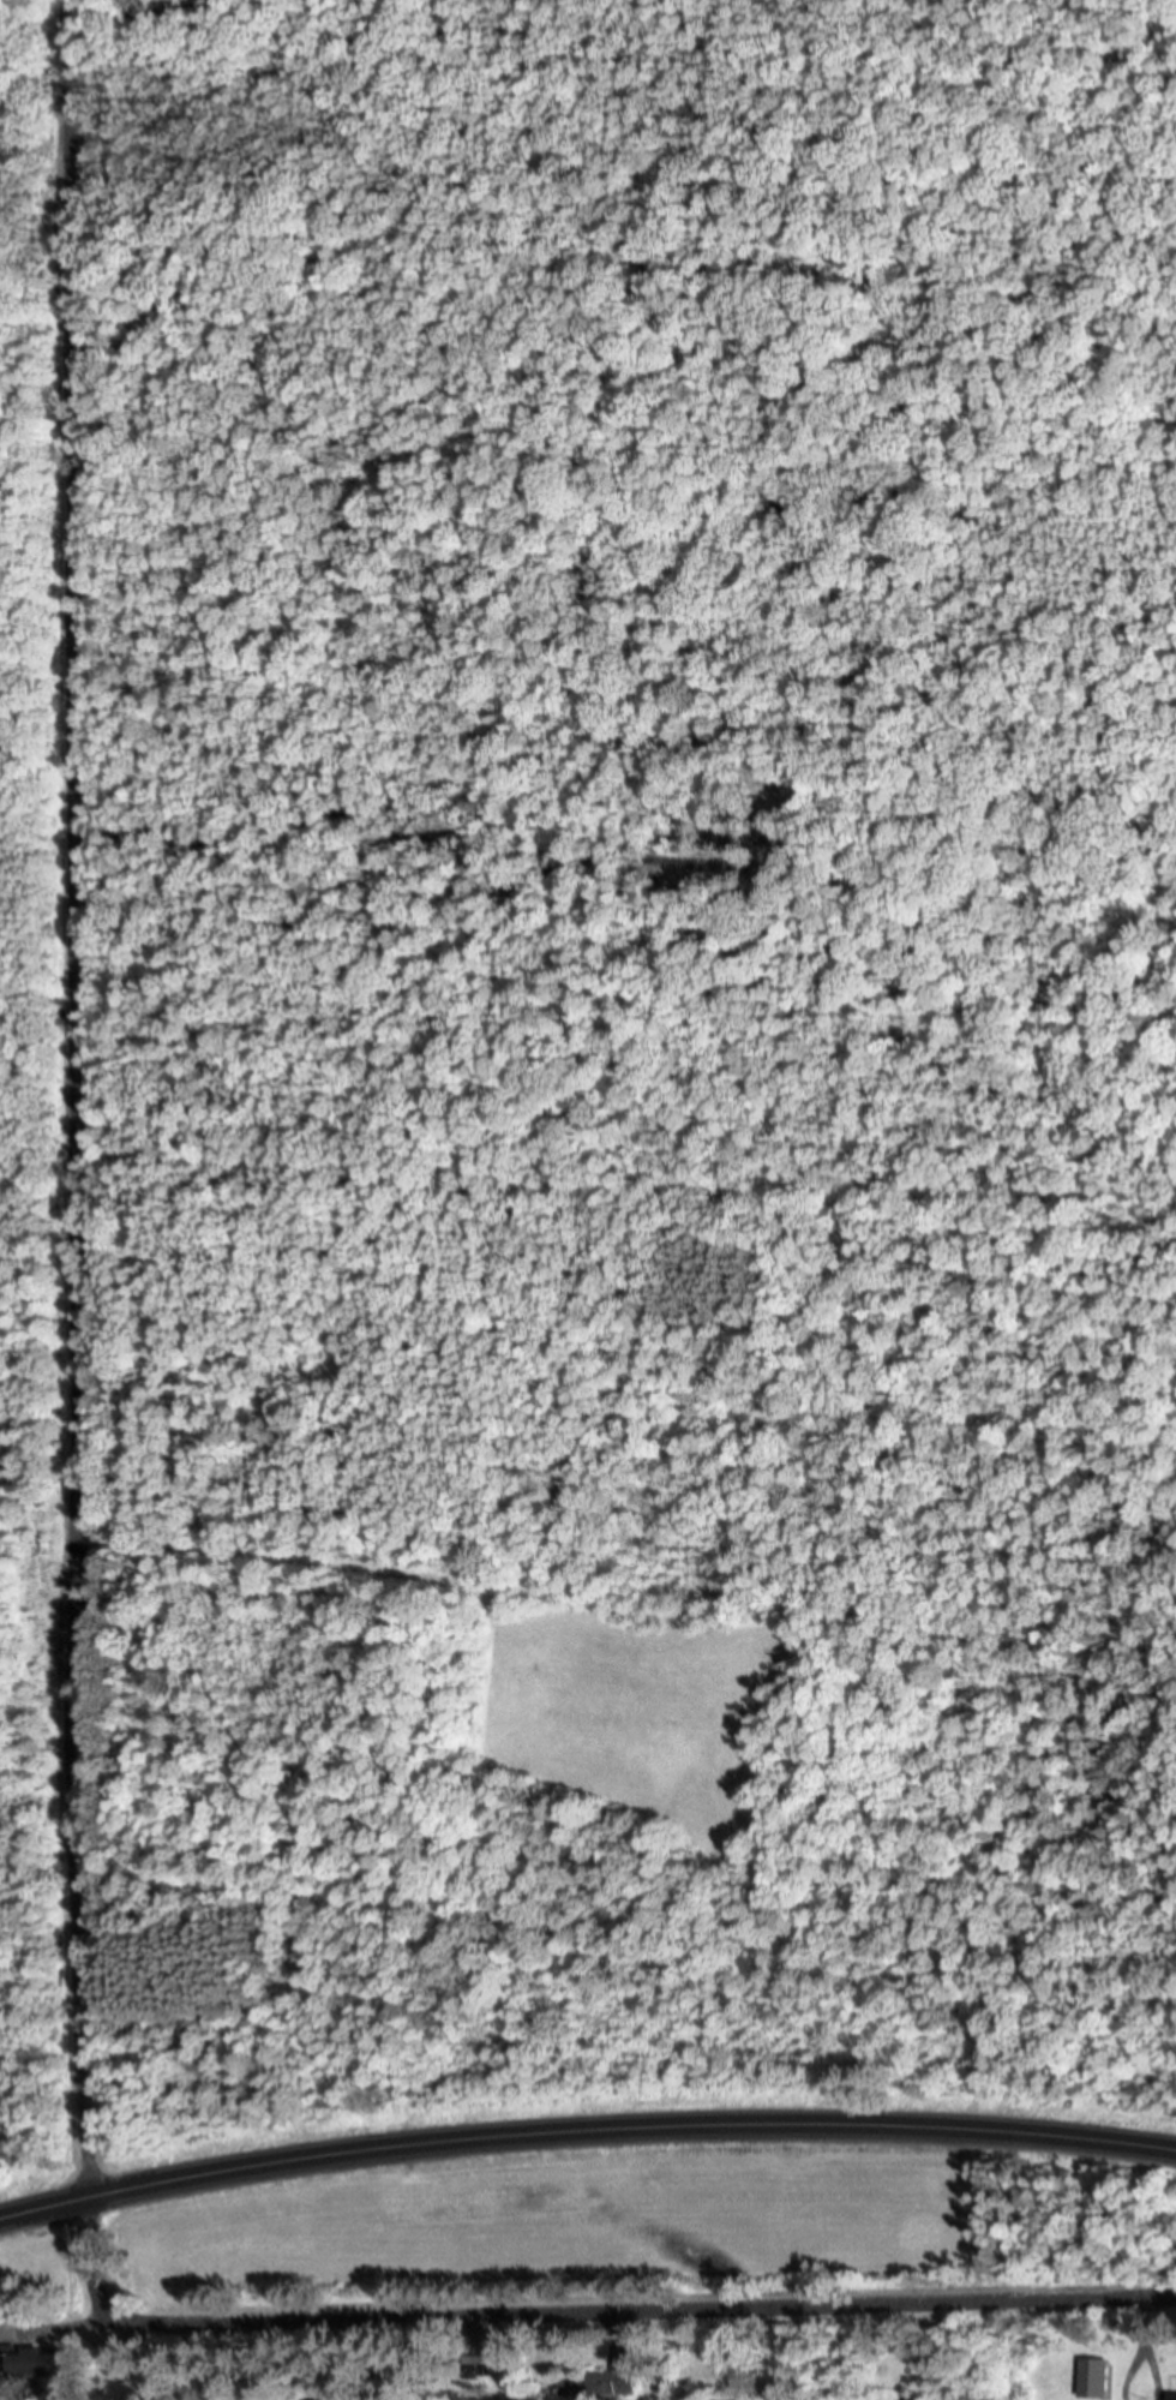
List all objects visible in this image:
road: (79, 1097)
road: (584, 2127)
road: (584, 2310)
building: (8, 2353)
building: (43, 2358)
building: (503, 2358)
building: (1100, 2374)
building: (602, 2383)
building: (1175, 2394)
building: (320, 2395)

